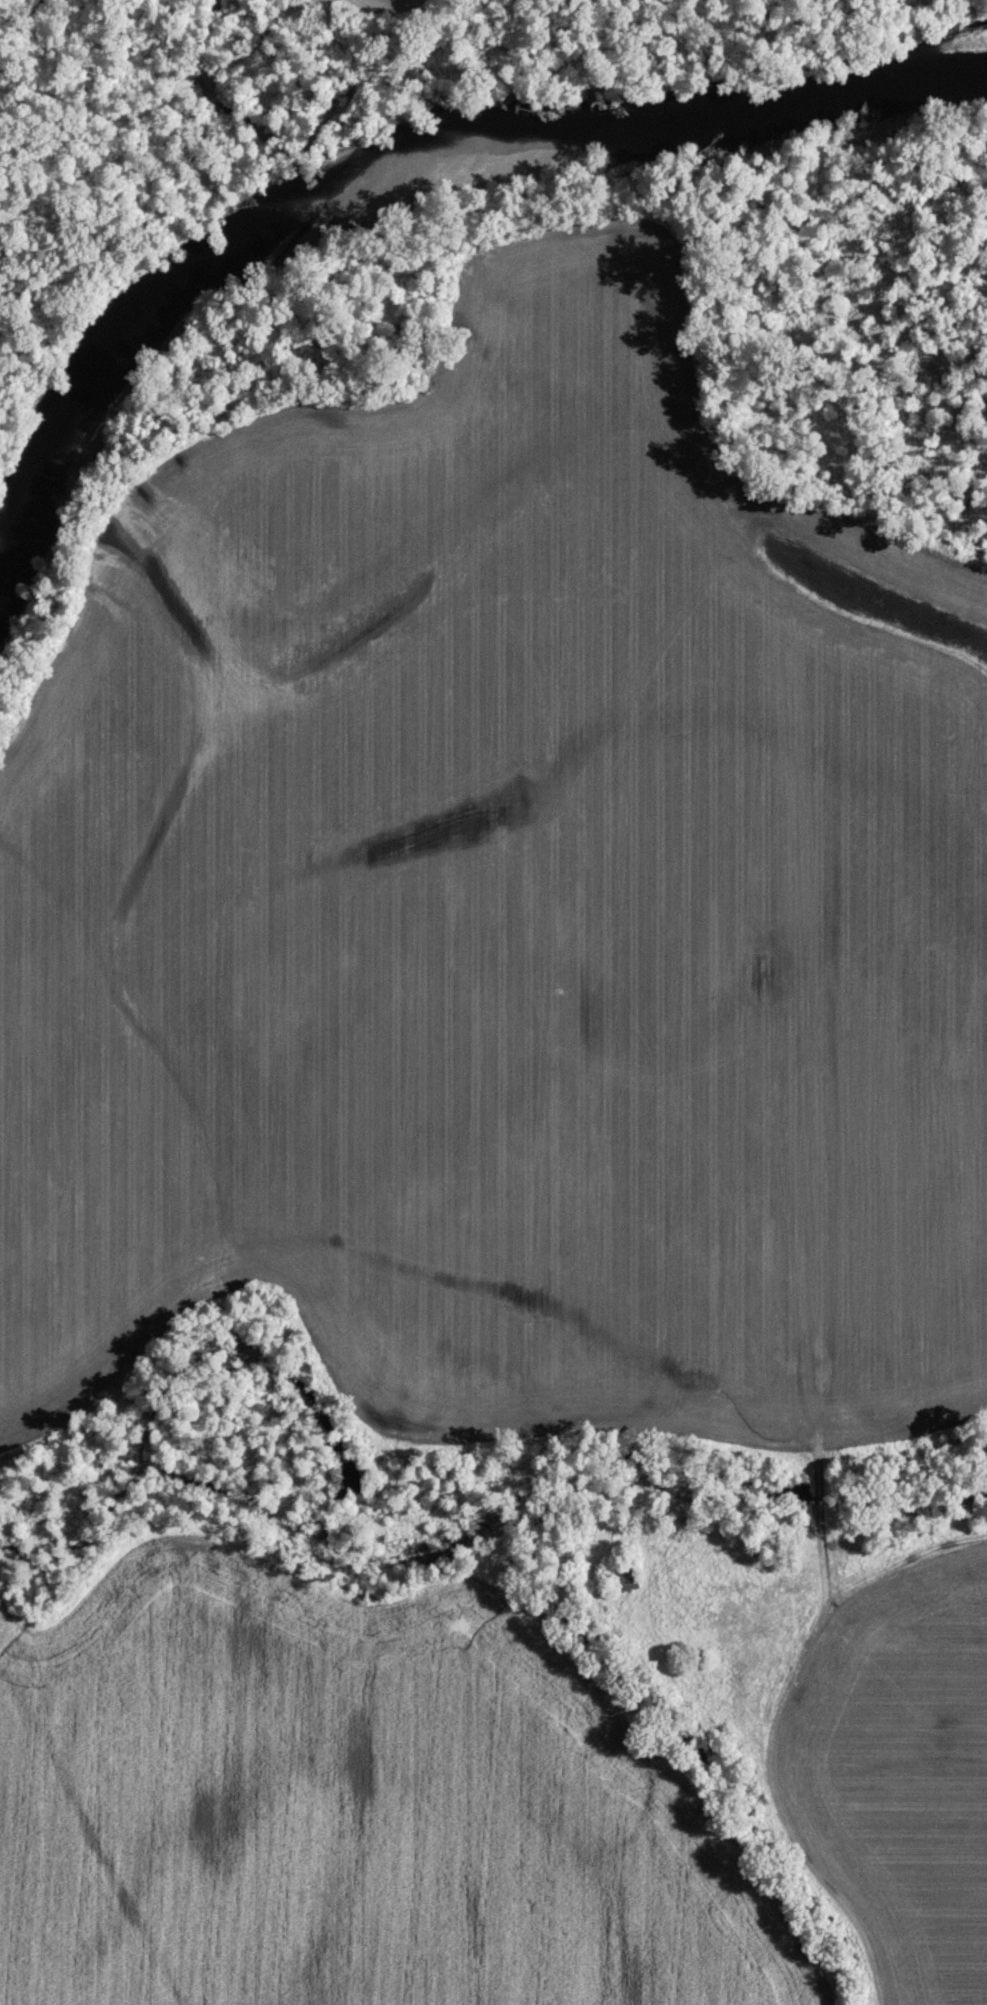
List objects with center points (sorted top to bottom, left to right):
road: (421, 28)
river: (417, 171)

